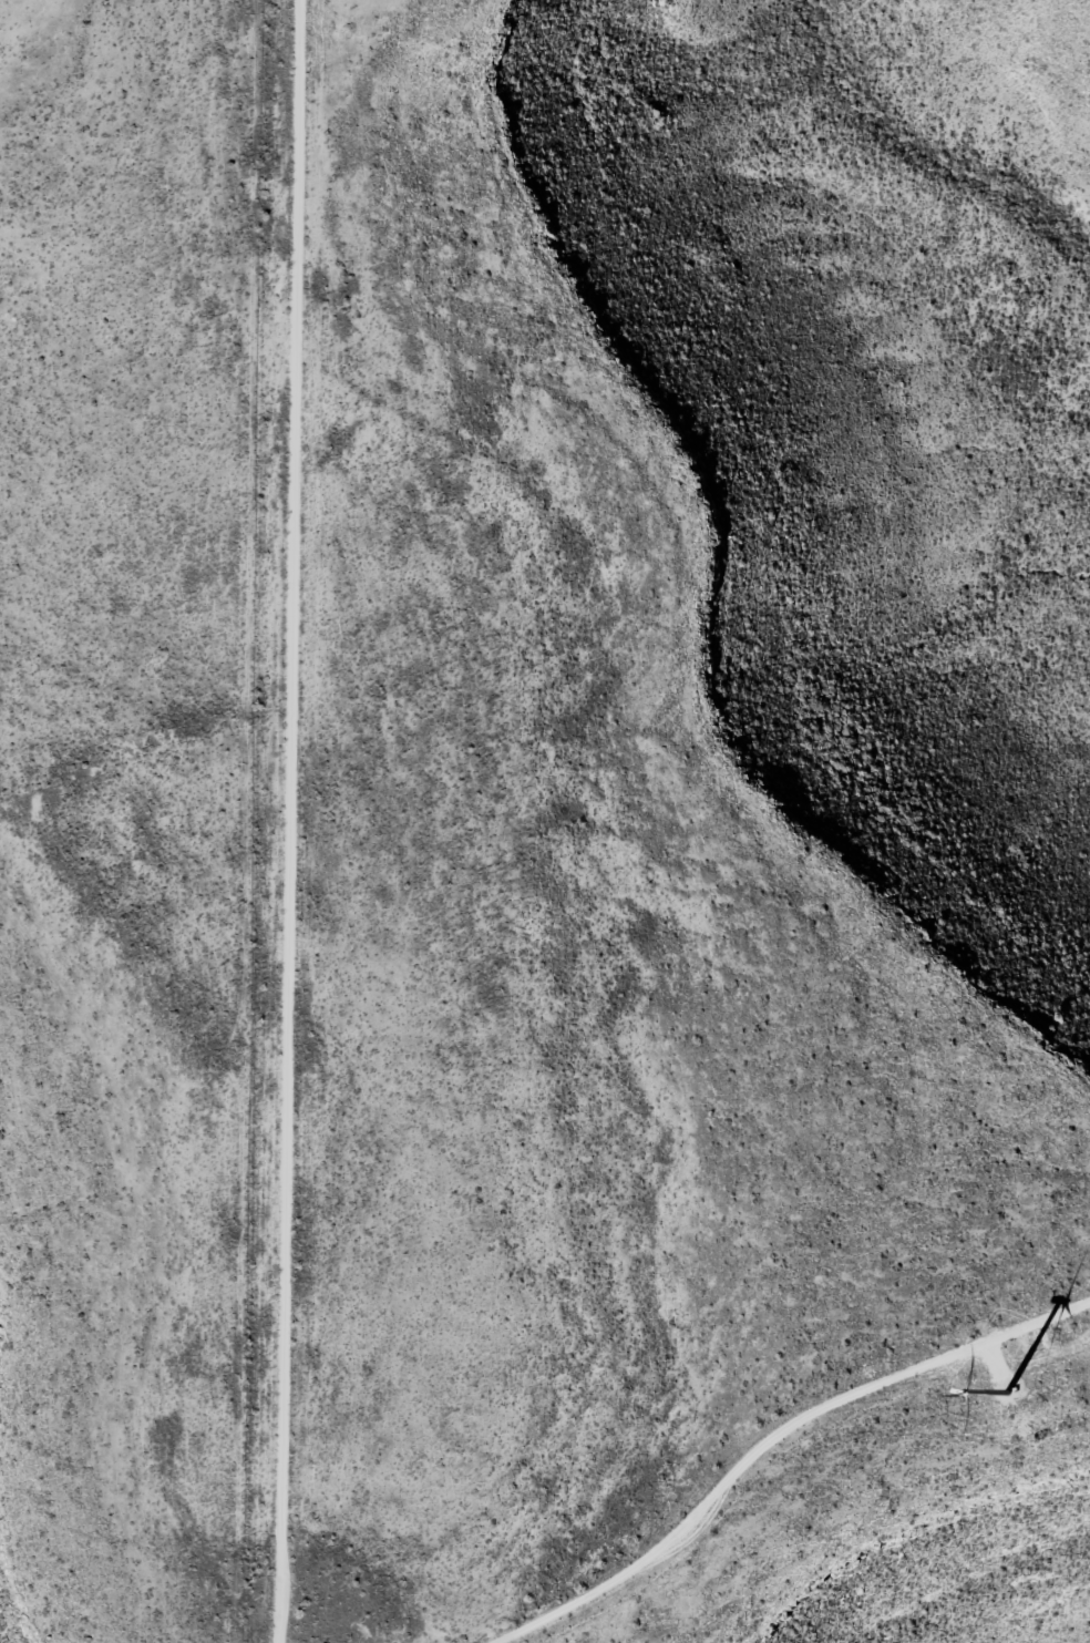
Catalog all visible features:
road: (213, 821)
wind turbine: (1019, 1403)

